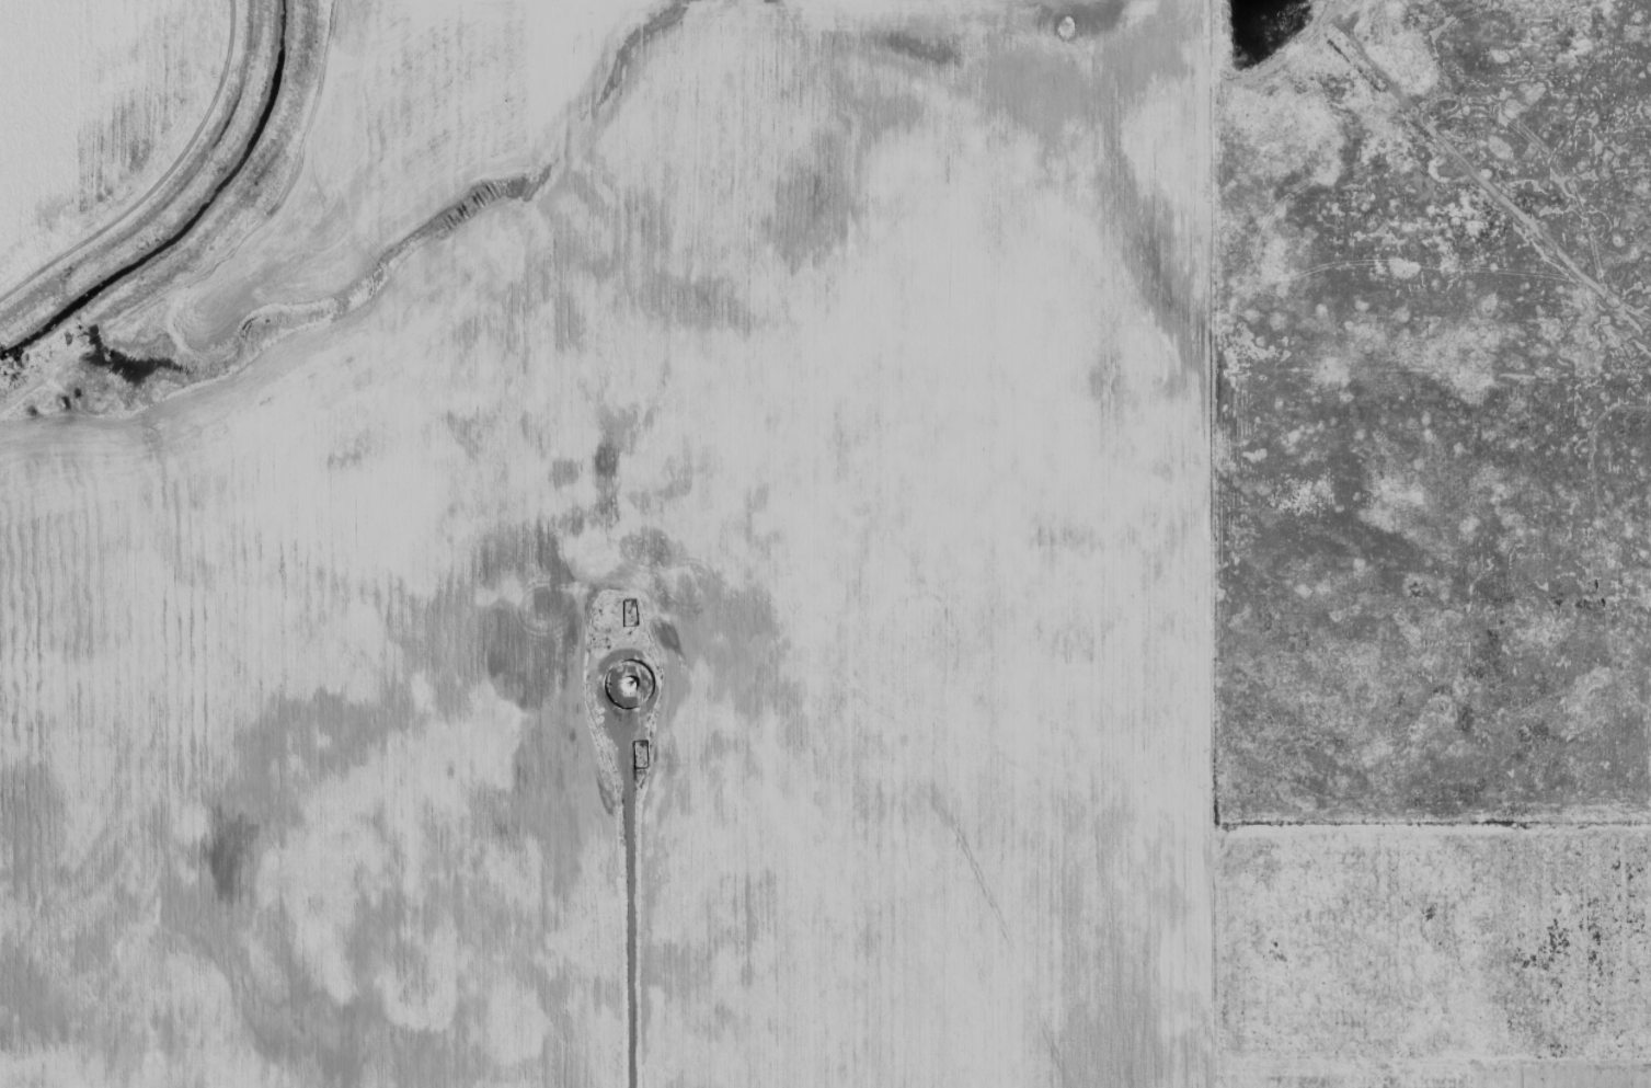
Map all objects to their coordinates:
river: (183, 201)
road: (628, 903)

